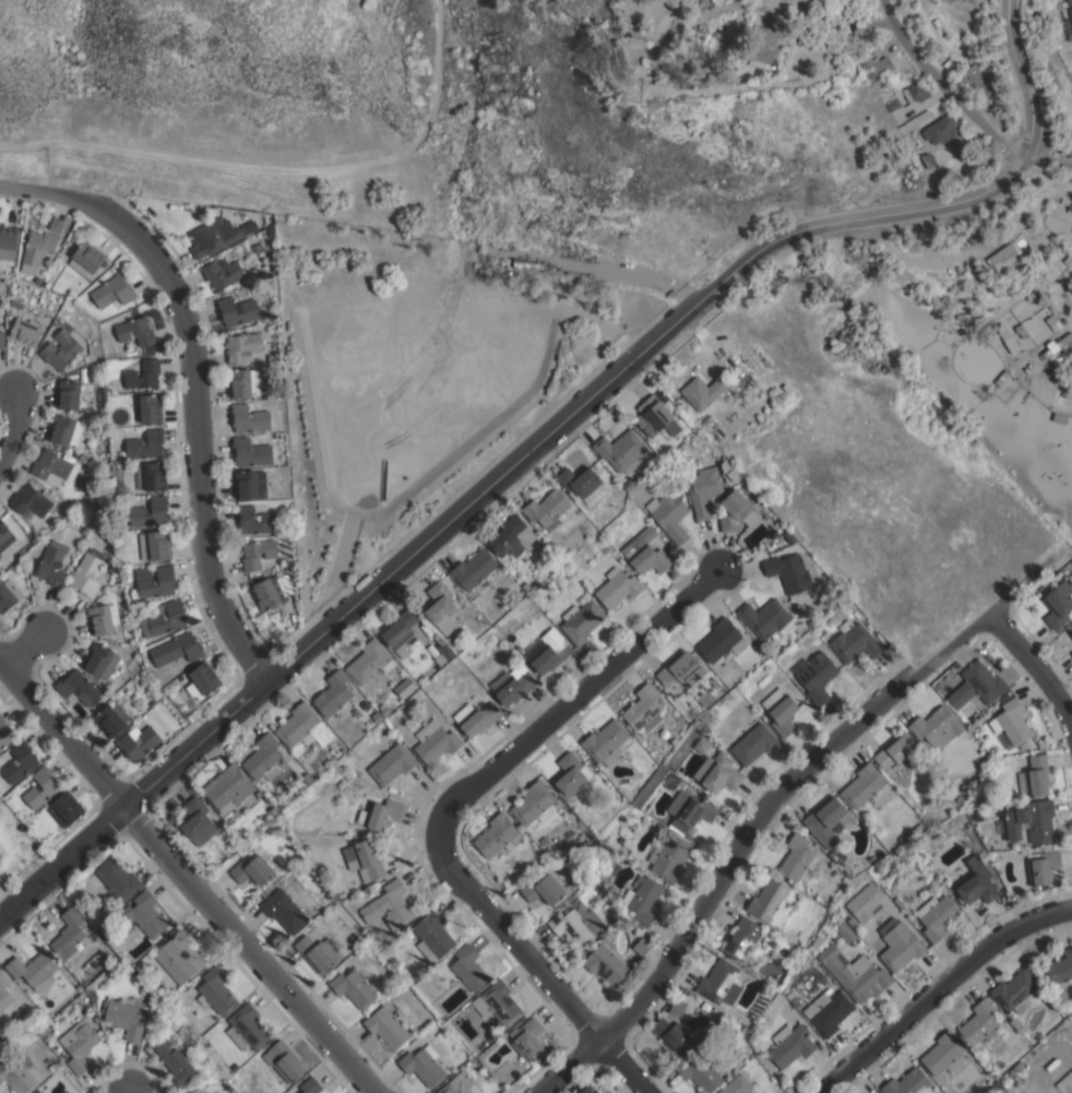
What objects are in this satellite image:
road: (438, 3)
building: (778, 4)
building: (1071, 16)
building: (763, 46)
building: (878, 68)
building: (1049, 70)
road: (1023, 78)
building: (976, 80)
road: (942, 86)
building: (916, 93)
building: (892, 106)
building: (937, 132)
road: (1047, 155)
road: (281, 163)
building: (924, 164)
building: (271, 231)
building: (990, 233)
building: (217, 236)
building: (8, 241)
building: (257, 247)
building: (37, 249)
building: (1003, 257)
building: (87, 258)
building: (1069, 259)
road: (919, 260)
building: (48, 261)
building: (529, 263)
road: (616, 266)
building: (222, 272)
building: (38, 280)
building: (112, 290)
building: (1032, 296)
building: (237, 310)
building: (1056, 321)
building: (1021, 330)
building: (135, 331)
building: (25, 332)
building: (1, 338)
building: (1056, 344)
building: (242, 345)
building: (63, 348)
building: (1029, 369)
building: (143, 375)
road: (194, 382)
building: (239, 382)
building: (704, 391)
building: (68, 394)
building: (662, 396)
building: (146, 408)
building: (655, 416)
building: (249, 418)
road: (15, 427)
building: (64, 430)
building: (146, 444)
building: (621, 450)
building: (250, 452)
building: (597, 465)
building: (55, 468)
building: (151, 476)
building: (250, 484)
building: (582, 484)
road: (486, 486)
building: (628, 486)
building: (703, 490)
building: (32, 500)
building: (547, 509)
building: (736, 511)
building: (150, 512)
building: (669, 515)
building: (255, 520)
building: (4, 535)
building: (511, 536)
building: (155, 545)
building: (258, 553)
building: (645, 553)
building: (52, 563)
building: (474, 568)
building: (788, 571)
building: (87, 572)
building: (154, 581)
building: (535, 582)
building: (526, 586)
building: (618, 586)
building: (269, 592)
building: (8, 594)
building: (1058, 604)
building: (440, 607)
building: (276, 608)
building: (164, 618)
building: (764, 618)
building: (100, 619)
building: (581, 620)
building: (800, 628)
building: (819, 629)
building: (401, 631)
building: (524, 631)
building: (1071, 632)
building: (469, 640)
building: (513, 641)
building: (720, 641)
building: (855, 641)
building: (181, 646)
road: (27, 650)
building: (1071, 653)
building: (549, 655)
building: (98, 658)
building: (440, 658)
building: (369, 661)
building: (681, 669)
building: (495, 673)
road: (1041, 673)
building: (815, 676)
building: (202, 680)
building: (714, 682)
building: (512, 684)
building: (405, 686)
building: (977, 686)
building: (78, 689)
building: (333, 692)
building: (705, 698)
road: (576, 704)
building: (643, 709)
building: (384, 710)
building: (781, 711)
building: (376, 716)
building: (111, 717)
building: (476, 717)
building: (1011, 722)
building: (303, 726)
building: (937, 726)
building: (401, 727)
building: (976, 727)
building: (5, 733)
building: (138, 741)
building: (434, 741)
building: (606, 741)
building: (754, 744)
building: (1024, 745)
building: (701, 746)
building: (683, 749)
building: (895, 750)
building: (984, 757)
building: (264, 758)
building: (20, 762)
building: (392, 763)
building: (718, 772)
building: (358, 773)
building: (571, 773)
building: (1035, 776)
building: (306, 777)
building: (670, 782)
building: (862, 785)
building: (51, 786)
building: (227, 788)
building: (288, 791)
road: (776, 793)
building: (534, 804)
building: (991, 807)
building: (65, 808)
building: (273, 810)
building: (690, 810)
building: (380, 813)
building: (196, 821)
building: (1029, 822)
building: (829, 823)
building: (917, 829)
building: (496, 834)
building: (904, 836)
building: (544, 840)
building: (621, 840)
park: (14, 850)
building: (669, 857)
building: (797, 857)
building: (364, 859)
building: (1041, 866)
building: (320, 869)
building: (253, 870)
building: (118, 878)
road: (186, 878)
building: (976, 881)
building: (543, 888)
building: (643, 899)
building: (863, 901)
building: (898, 902)
building: (772, 903)
building: (389, 905)
building: (284, 910)
building: (144, 914)
building: (937, 916)
building: (576, 925)
building: (845, 931)
building: (68, 934)
building: (432, 936)
building: (742, 939)
building: (817, 939)
building: (643, 945)
building: (902, 947)
building: (319, 952)
building: (179, 957)
building: (606, 964)
road: (534, 966)
building: (468, 967)
building: (1059, 969)
building: (33, 970)
building: (115, 970)
building: (855, 973)
building: (717, 979)
building: (353, 987)
road: (938, 990)
building: (215, 991)
building: (1015, 991)
building: (33, 996)
building: (7, 998)
building: (795, 1001)
building: (499, 1002)
building: (677, 1007)
building: (827, 1011)
building: (124, 1018)
building: (979, 1023)
building: (386, 1026)
building: (247, 1027)
building: (674, 1034)
building: (527, 1038)
building: (79, 1044)
building: (790, 1045)
building: (944, 1054)
building: (174, 1060)
building: (284, 1060)
building: (422, 1065)
building: (51, 1067)
building: (1016, 1067)
building: (699, 1072)
building: (17, 1076)
building: (233, 1080)
building: (908, 1083)
building: (226, 1084)
building: (460, 1084)
building: (737, 1084)
building: (310, 1085)
building: (589, 1089)
building: (40, 1091)
road: (133, 1092)
building: (874, 1092)

